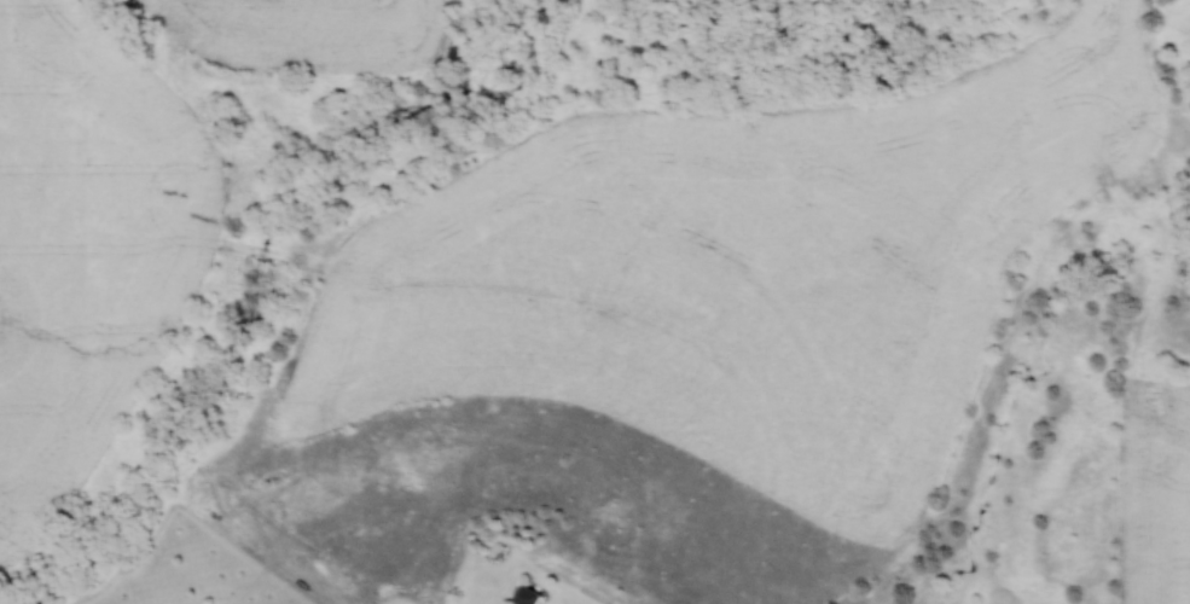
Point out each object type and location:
building: (526, 594)

